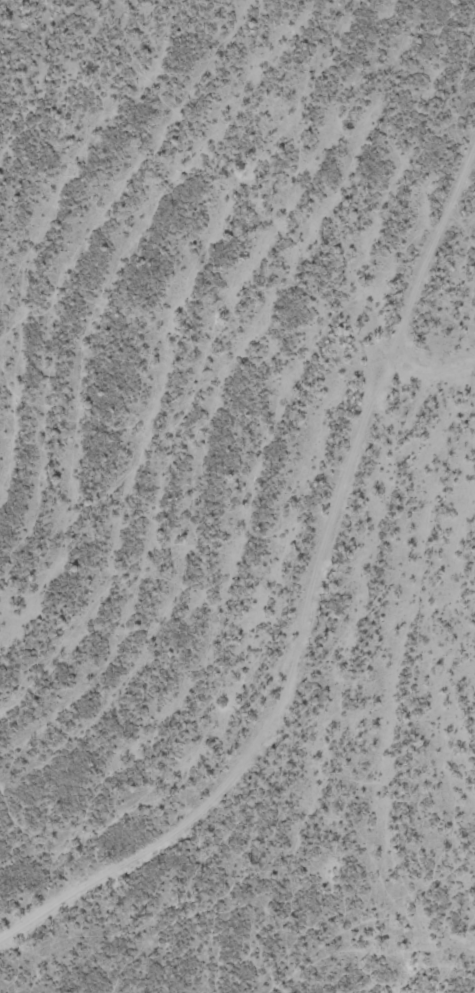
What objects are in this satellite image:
road: (314, 604)

